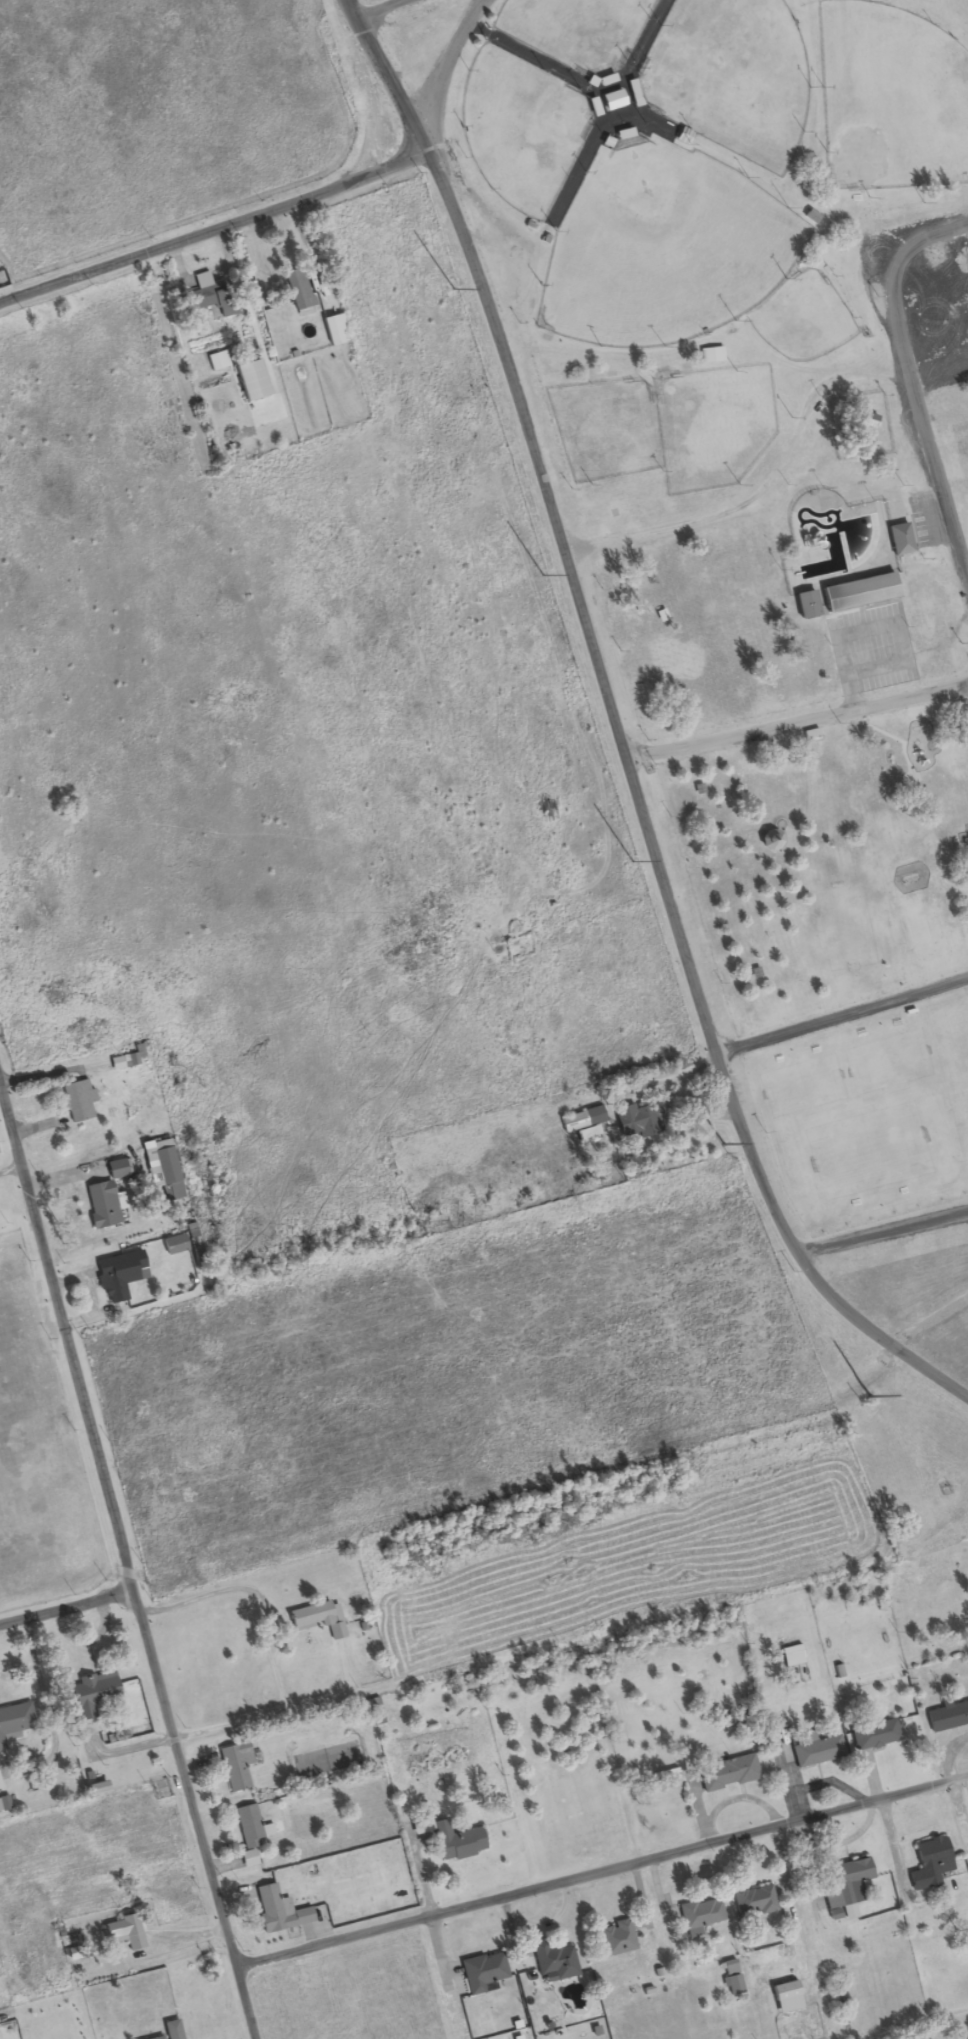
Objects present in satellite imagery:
road: (381, 8)
building: (612, 101)
building: (682, 137)
road: (263, 210)
building: (810, 217)
power tower: (452, 287)
building: (210, 297)
building: (333, 329)
building: (711, 356)
road: (899, 381)
building: (866, 421)
park: (763, 534)
power tower: (541, 574)
building: (858, 592)
road: (795, 728)
road: (613, 733)
building: (768, 840)
power tower: (632, 860)
road: (840, 1017)
building: (128, 1059)
building: (77, 1102)
building: (593, 1117)
building: (639, 1121)
power tower: (720, 1141)
building: (115, 1169)
building: (166, 1171)
building: (100, 1205)
building: (118, 1275)
power tower: (867, 1395)
road: (126, 1567)
road: (66, 1607)
building: (317, 1619)
building: (791, 1656)
building: (93, 1694)
building: (947, 1717)
building: (15, 1721)
building: (874, 1736)
building: (817, 1752)
building: (235, 1766)
building: (729, 1774)
building: (248, 1827)
building: (449, 1840)
building: (928, 1864)
road: (602, 1870)
building: (846, 1884)
building: (754, 1901)
building: (273, 1911)
building: (700, 1914)
building: (122, 1933)
building: (615, 1940)
building: (553, 1963)
building: (481, 1974)
building: (731, 1979)
building: (784, 1998)

